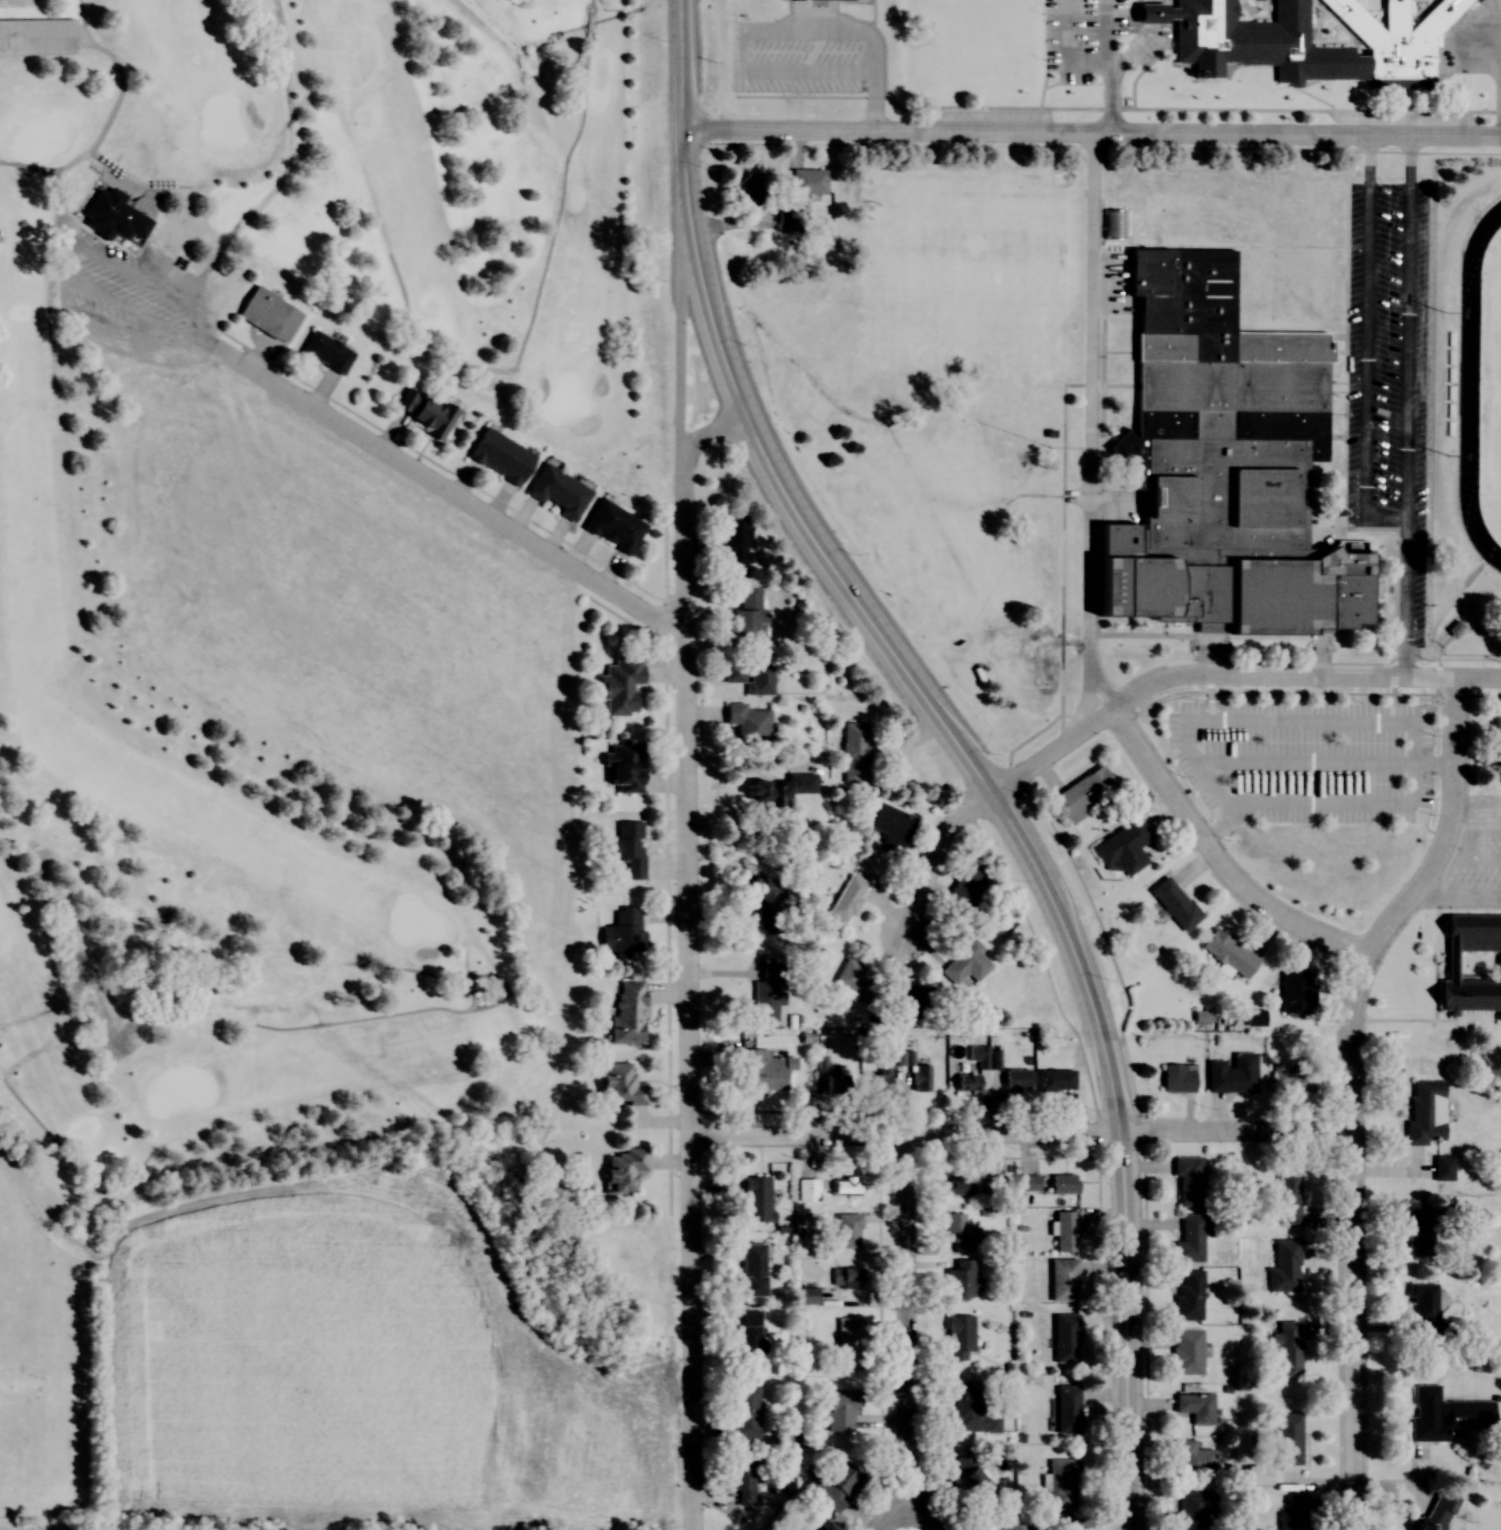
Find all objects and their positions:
building: (1396, 35)
building: (37, 36)
road: (1491, 51)
building: (1011, 52)
road: (1119, 65)
road: (120, 89)
road: (1091, 132)
building: (807, 181)
road: (134, 183)
building: (749, 190)
road: (687, 213)
building: (112, 216)
road: (53, 229)
road: (68, 251)
road: (540, 281)
building: (268, 314)
road: (686, 346)
building: (325, 352)
parking lot: (1388, 364)
track: (1472, 385)
park: (1498, 388)
road: (1406, 411)
building: (424, 413)
road: (1092, 425)
building: (499, 456)
building: (1222, 466)
building: (557, 492)
road: (448, 493)
building: (612, 526)
building: (735, 545)
building: (746, 612)
building: (750, 670)
road: (1229, 677)
building: (619, 686)
building: (748, 724)
building: (1496, 729)
building: (855, 752)
parking lot: (1313, 758)
road: (968, 761)
park: (320, 767)
building: (623, 768)
building: (799, 783)
building: (761, 794)
building: (1084, 794)
building: (891, 828)
building: (626, 848)
building: (1123, 848)
road: (935, 855)
road: (1212, 866)
building: (964, 887)
building: (848, 899)
building: (1175, 904)
building: (768, 905)
building: (622, 934)
building: (1229, 955)
road: (687, 957)
building: (966, 965)
building: (1472, 965)
building: (852, 982)
building: (1296, 992)
building: (768, 993)
building: (904, 1000)
road: (471, 1009)
building: (627, 1014)
building: (1255, 1019)
building: (763, 1070)
building: (884, 1071)
building: (917, 1073)
building: (1232, 1074)
building: (1177, 1078)
building: (1294, 1078)
building: (1016, 1080)
building: (1054, 1080)
building: (838, 1081)
building: (966, 1083)
building: (620, 1085)
road: (1350, 1091)
building: (1426, 1112)
road: (1019, 1135)
road: (73, 1163)
building: (1443, 1168)
building: (623, 1169)
building: (1188, 1181)
building: (1027, 1184)
building: (1063, 1184)
building: (958, 1186)
building: (845, 1187)
building: (812, 1189)
building: (1287, 1197)
building: (756, 1200)
building: (1415, 1228)
building: (958, 1230)
building: (846, 1231)
building: (1065, 1231)
building: (1188, 1240)
building: (1285, 1265)
building: (751, 1270)
building: (845, 1278)
building: (1063, 1280)
building: (960, 1281)
building: (807, 1296)
building: (1189, 1297)
building: (1422, 1301)
road: (901, 1327)
building: (744, 1332)
road: (1125, 1332)
building: (958, 1337)
building: (1065, 1338)
building: (849, 1344)
building: (1286, 1349)
building: (1187, 1352)
building: (972, 1406)
building: (1195, 1407)
building: (837, 1409)
building: (1067, 1409)
building: (744, 1412)
building: (1446, 1414)
building: (1288, 1438)
building: (1194, 1456)
building: (970, 1472)
building: (744, 1481)
building: (832, 1483)
building: (1063, 1484)
building: (1192, 1510)
building: (1294, 1513)
road: (904, 1515)
building: (1011, 1521)
building: (808, 1525)
building: (1418, 1525)

